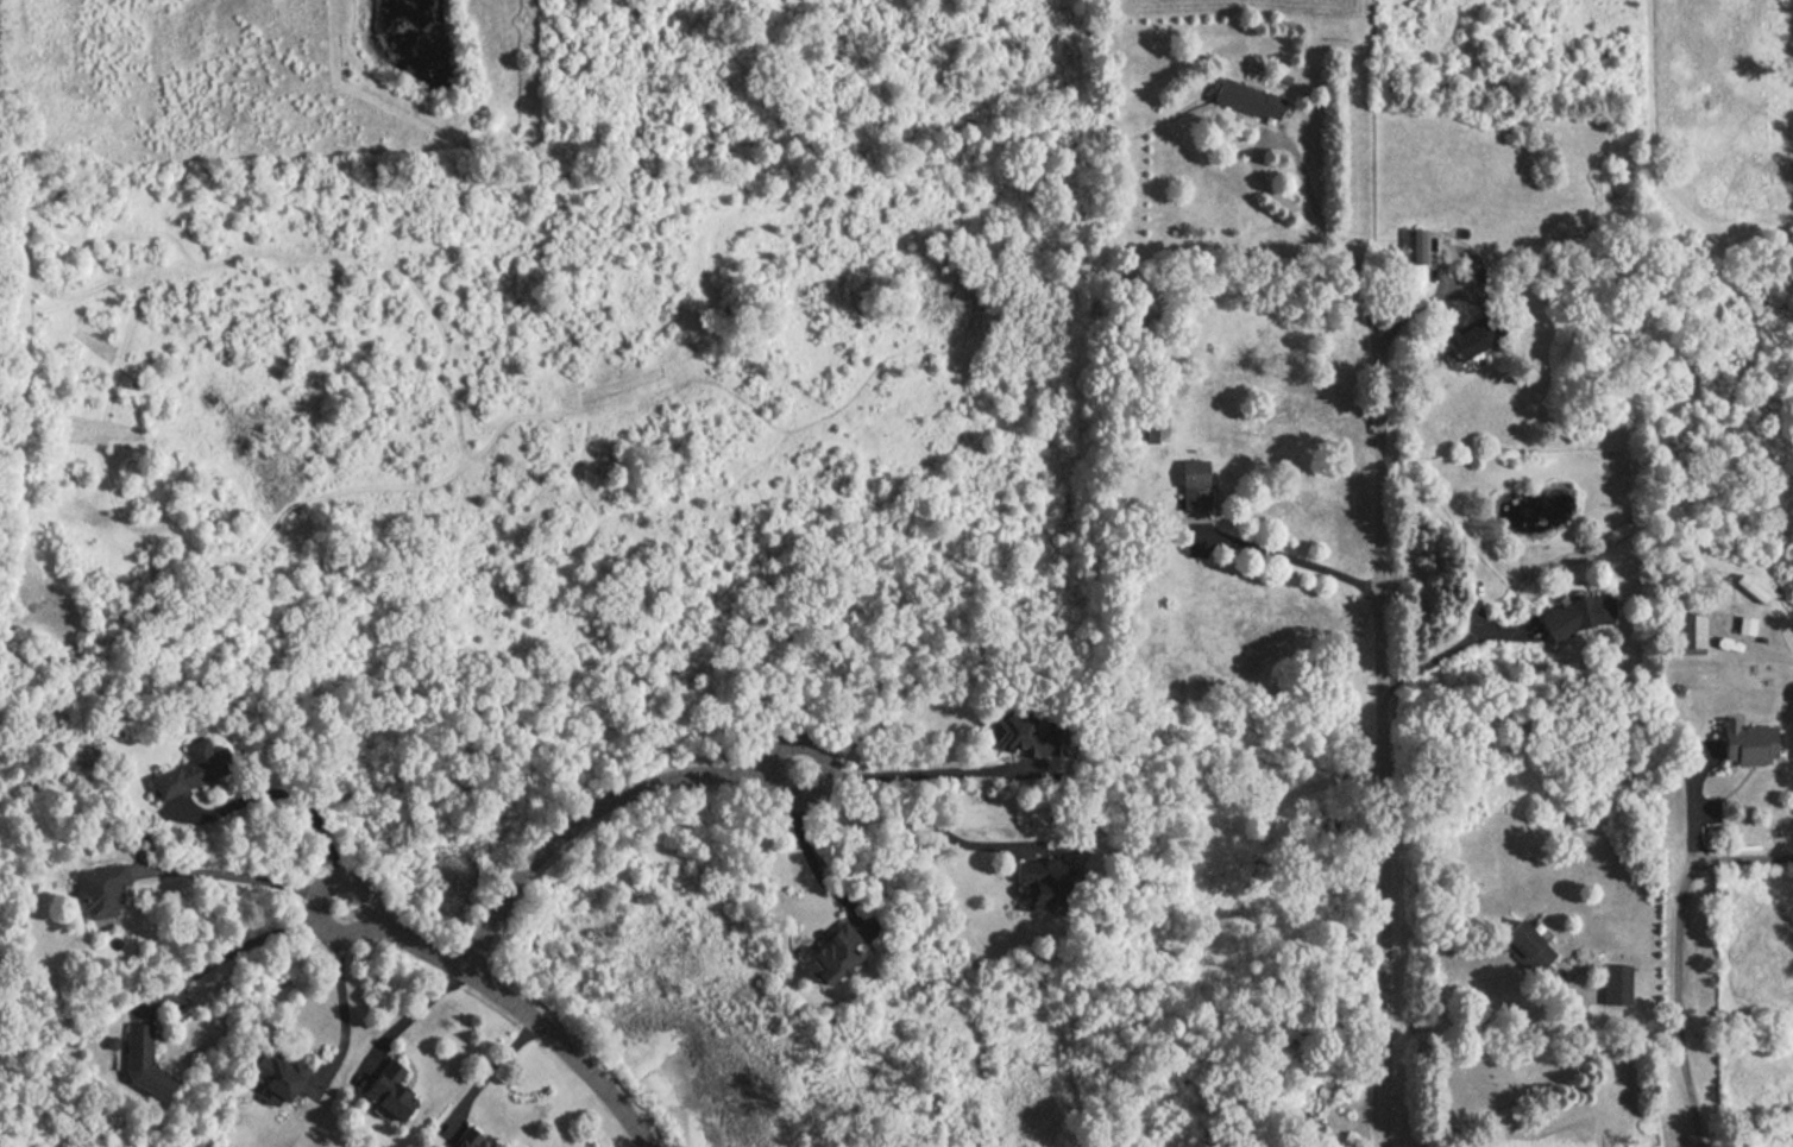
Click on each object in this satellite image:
building: (1244, 100)
road: (1330, 238)
building: (1457, 341)
building: (1153, 426)
road: (1298, 567)
building: (1751, 591)
building: (1742, 625)
building: (1688, 634)
road: (1454, 650)
road: (1770, 653)
building: (1017, 735)
building: (1743, 744)
road: (1382, 754)
building: (195, 764)
road: (911, 776)
road: (295, 802)
road: (598, 814)
road: (910, 819)
road: (810, 859)
road: (244, 878)
building: (1034, 886)
building: (97, 889)
building: (1523, 945)
road: (241, 950)
road: (1678, 954)
building: (826, 956)
building: (1613, 985)
road: (342, 998)
road: (516, 1003)
road: (413, 1015)
building: (137, 1061)
road: (491, 1072)
building: (270, 1076)
road: (1533, 1088)
building: (383, 1092)
building: (461, 1140)

